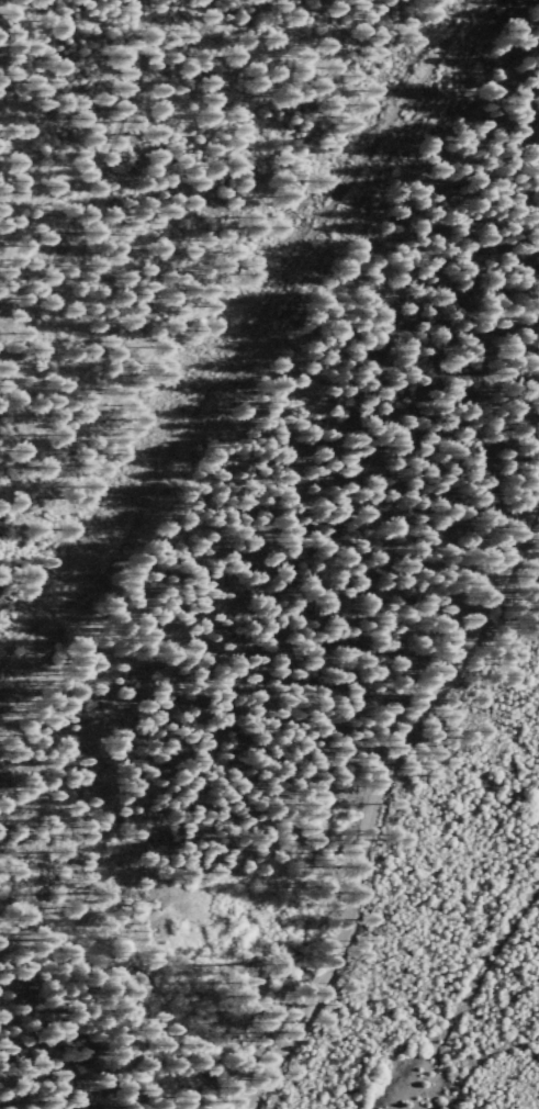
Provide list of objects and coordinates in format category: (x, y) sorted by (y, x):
road: (252, 355)
road: (380, 792)

